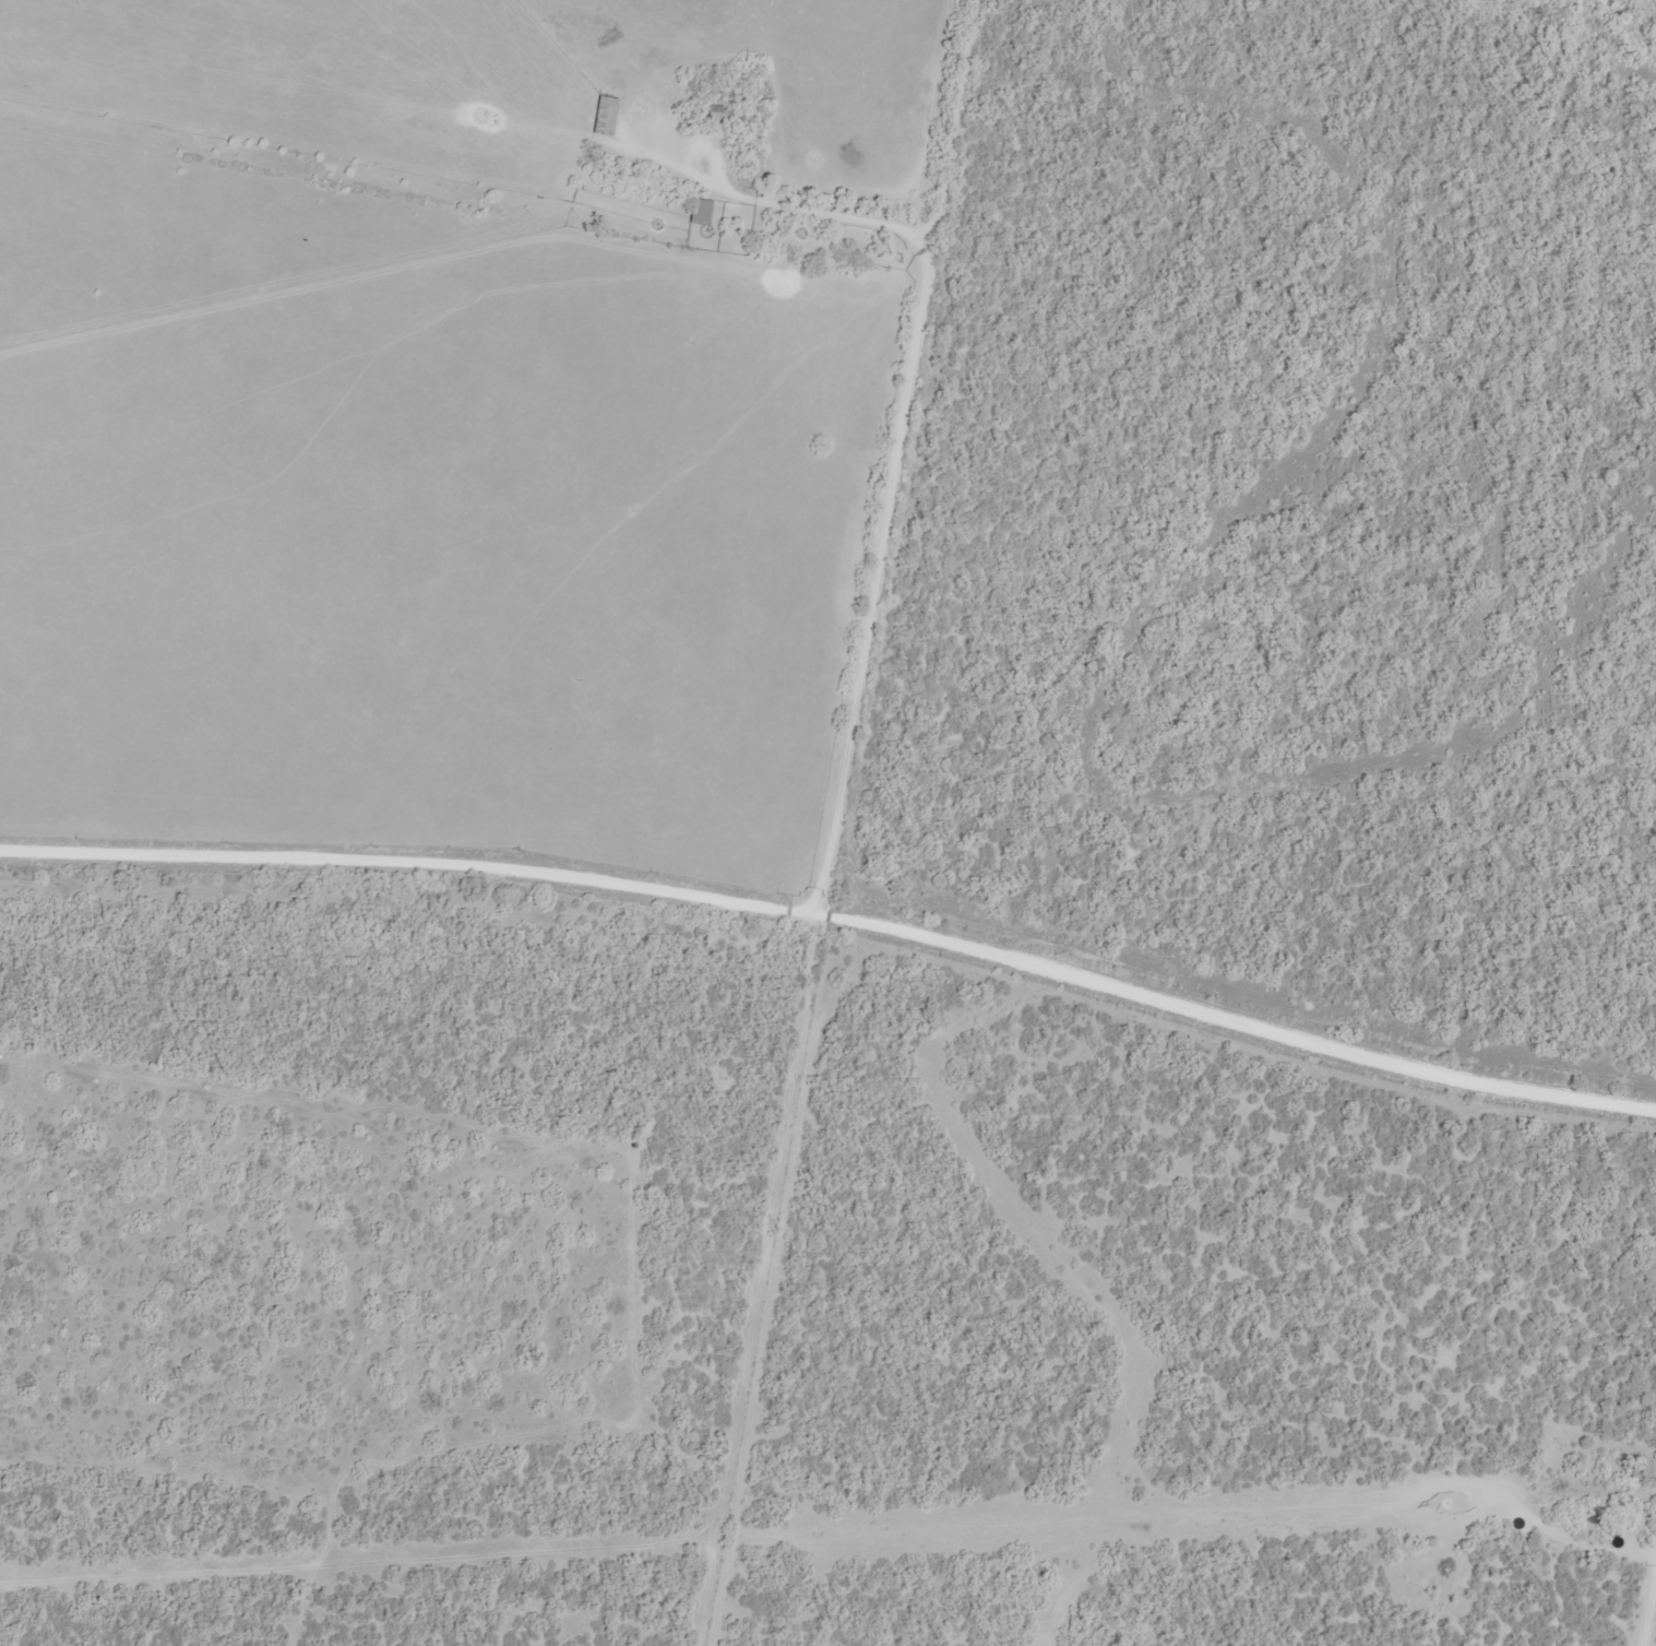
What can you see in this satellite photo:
building: (718, 114)
building: (603, 115)
building: (699, 210)
road: (897, 455)
road: (841, 916)
road: (1652, 1624)

